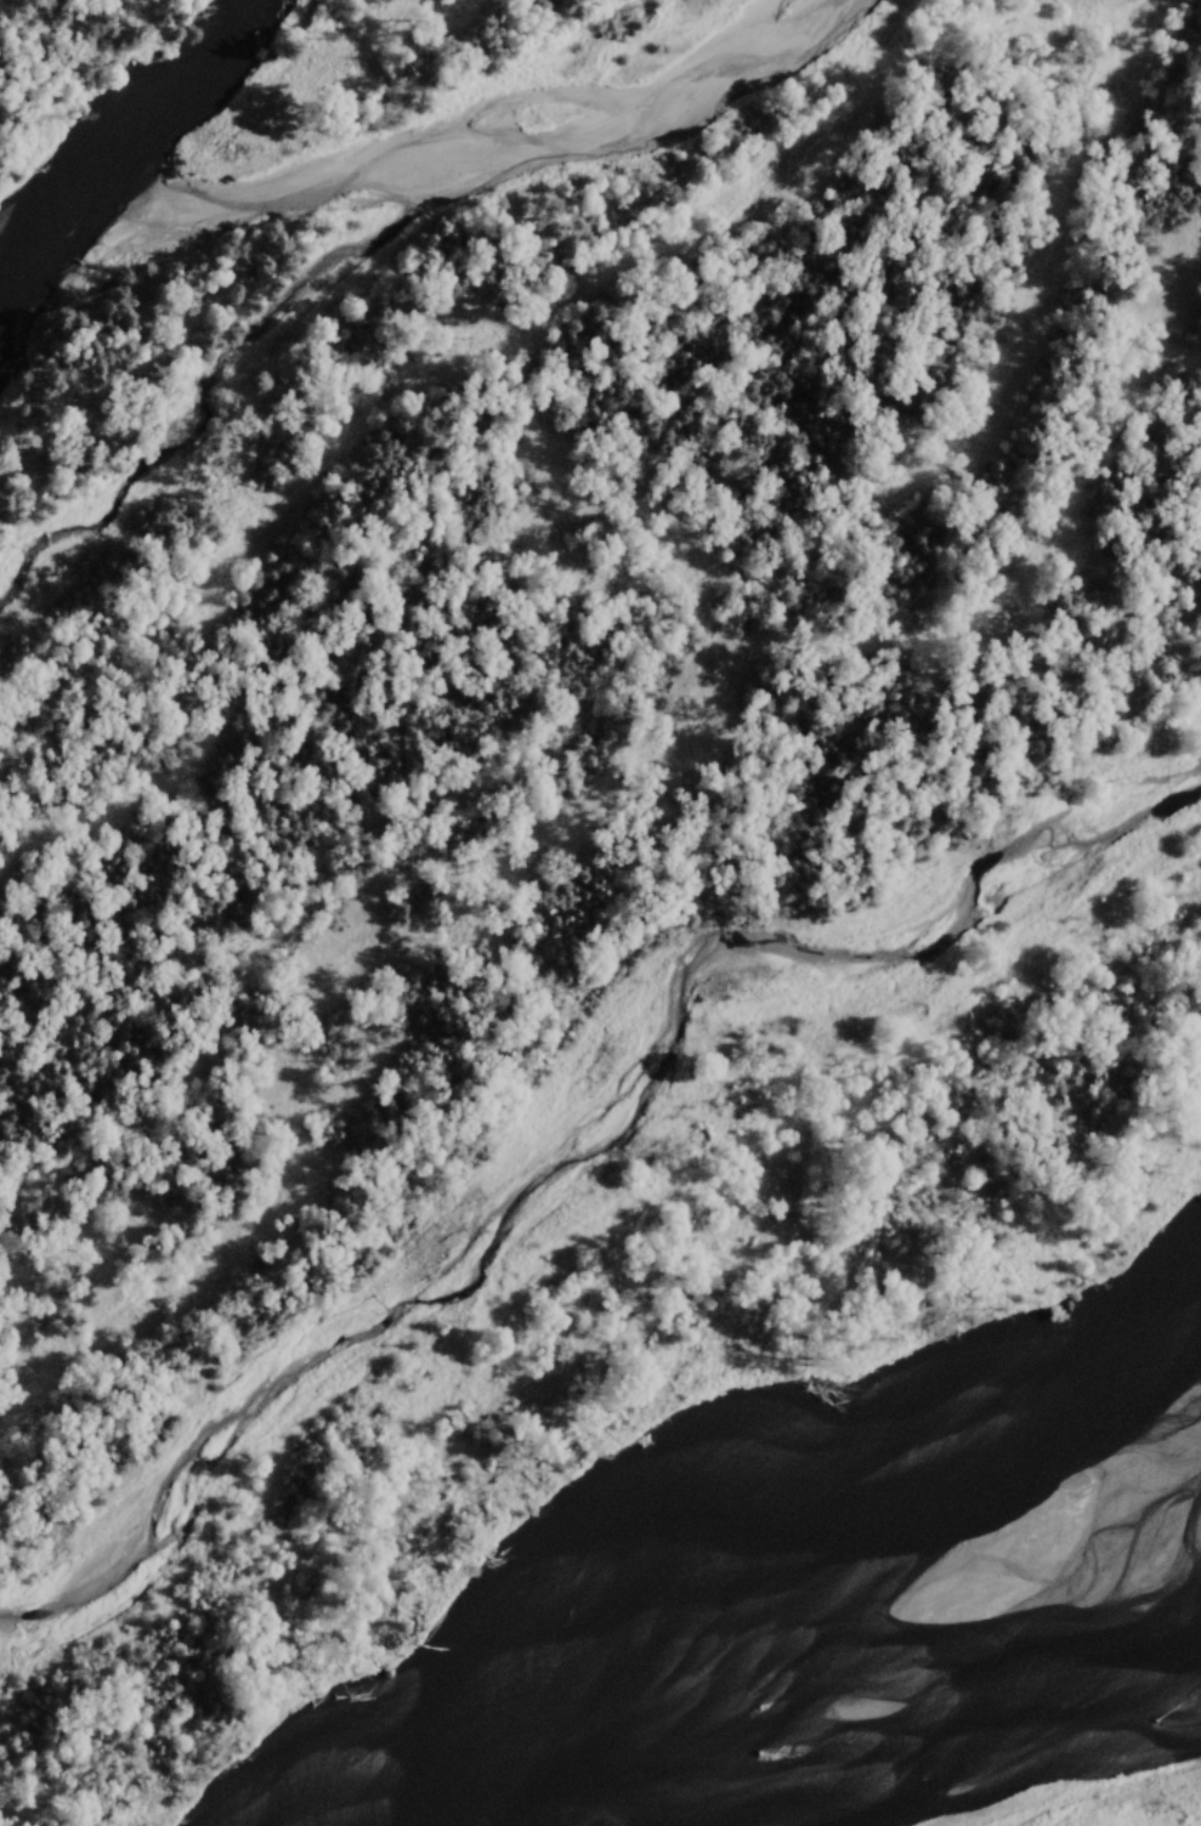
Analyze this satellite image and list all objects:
river: (757, 1600)

